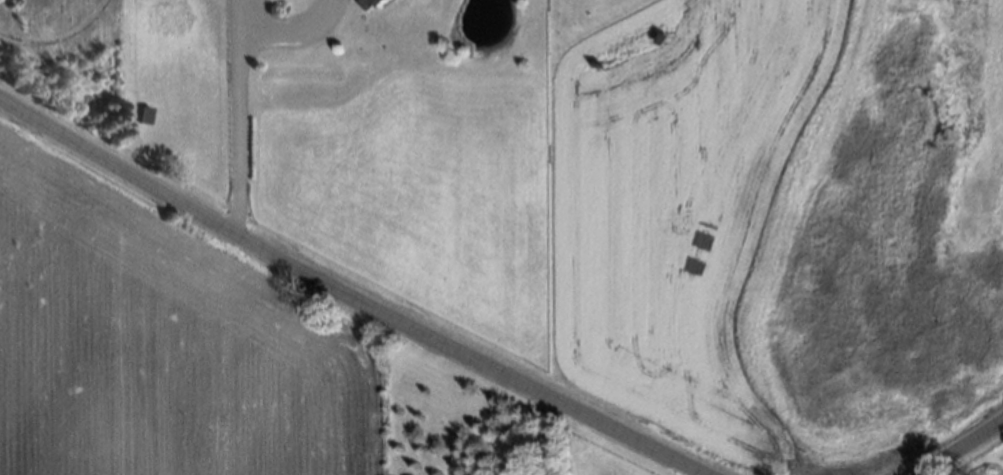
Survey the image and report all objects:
building: (377, 5)
road: (286, 29)
road: (235, 116)
building: (147, 117)
road: (351, 294)
road: (548, 435)
road: (961, 446)
road: (929, 472)

